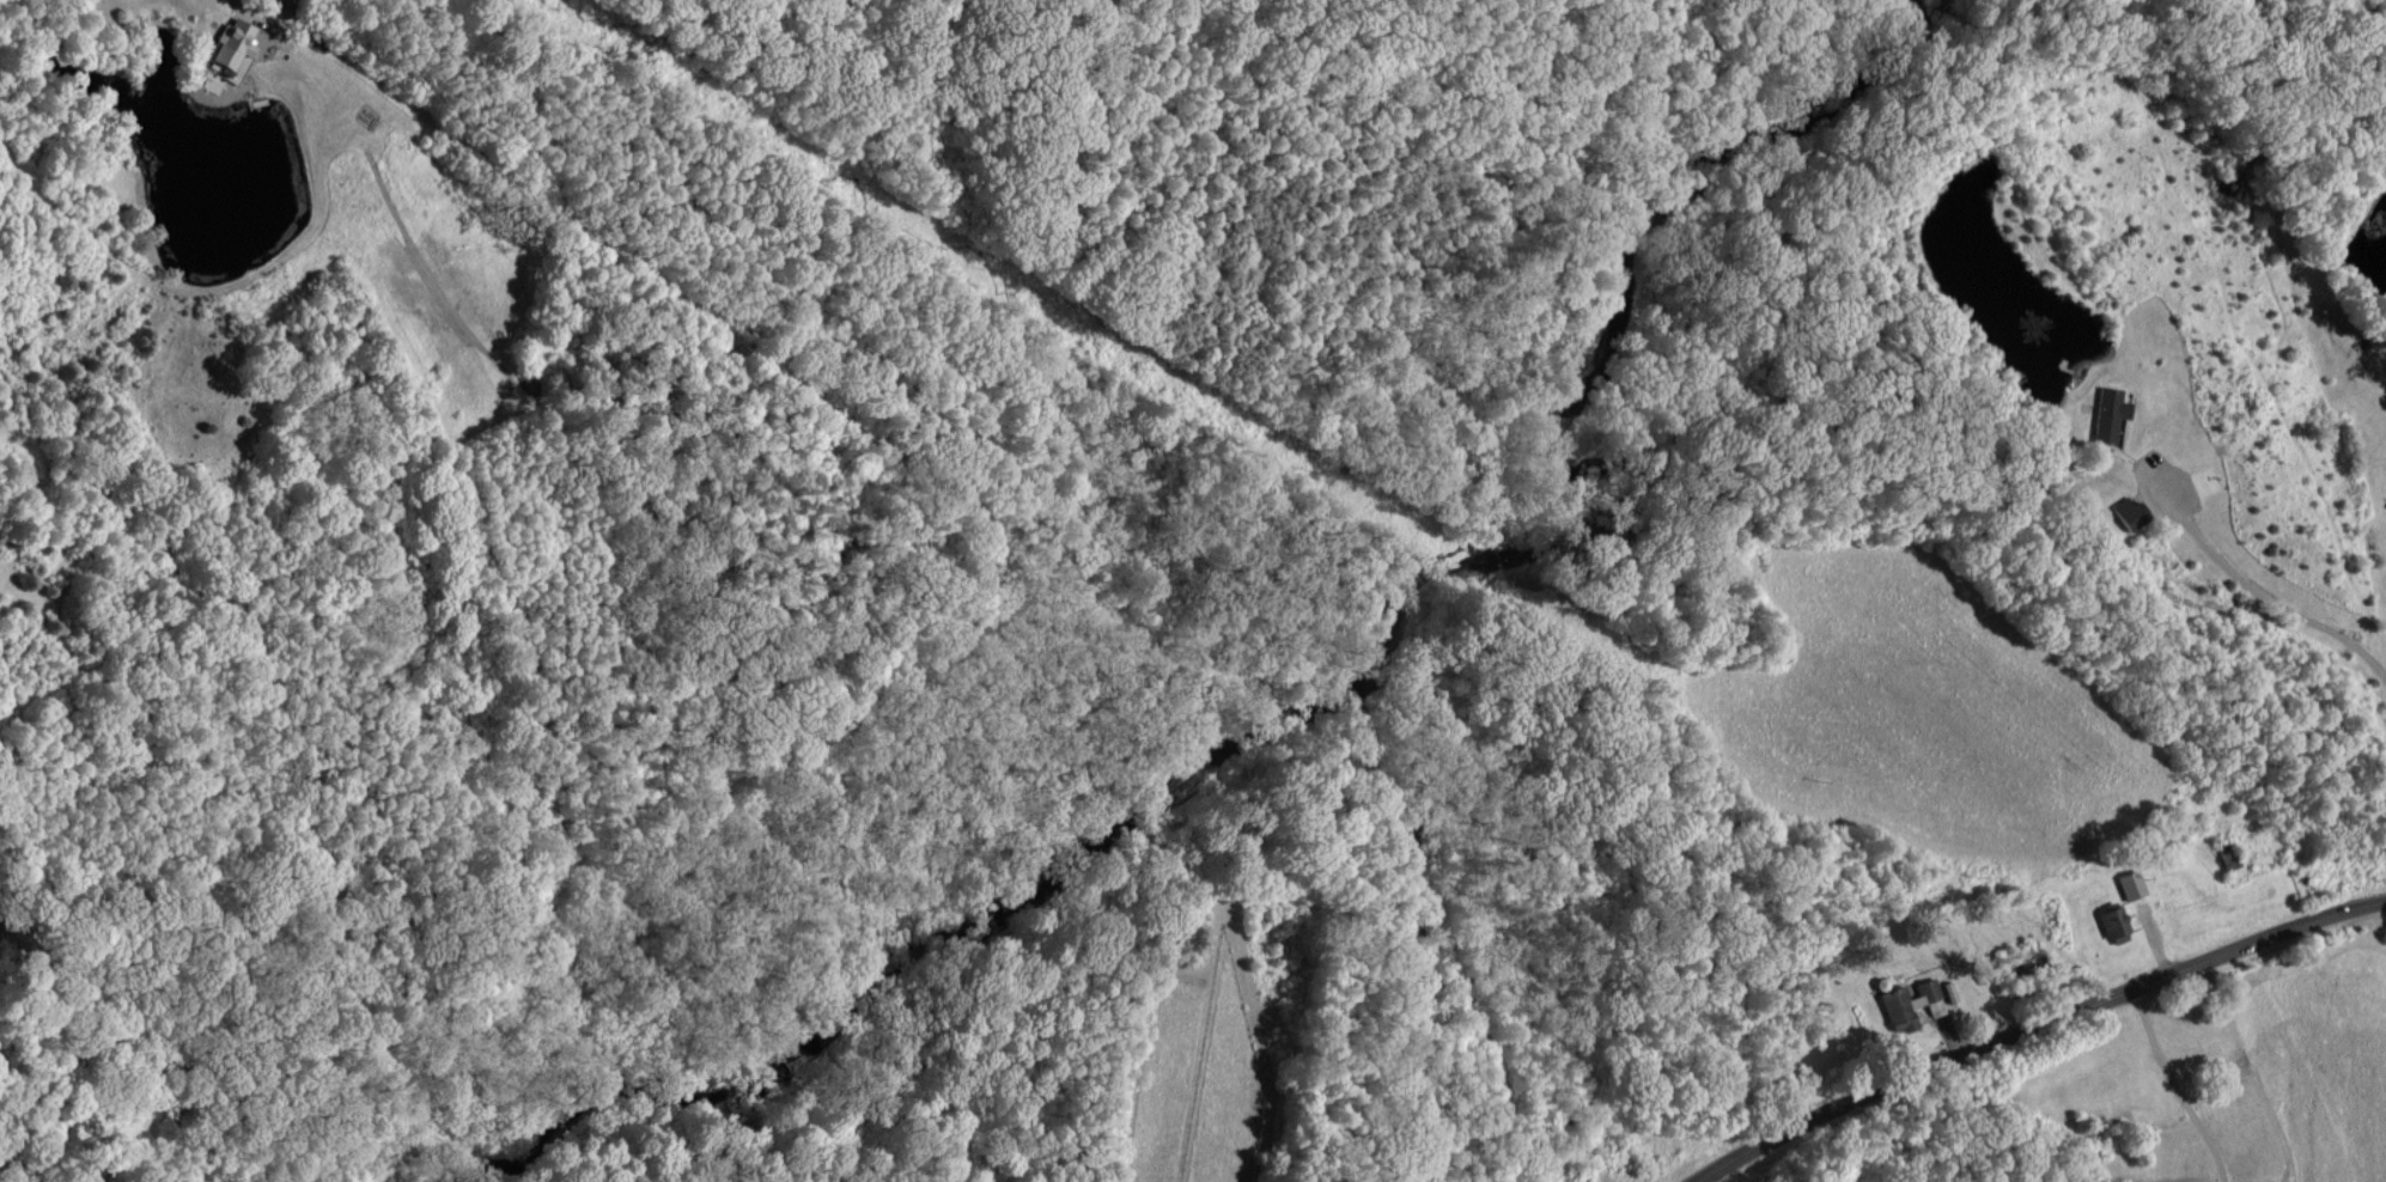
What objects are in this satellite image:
road: (272, 5)
building: (227, 55)
building: (2105, 415)
building: (2126, 511)
road: (2265, 596)
building: (2128, 883)
building: (2111, 924)
building: (1909, 1003)
road: (2035, 1026)

